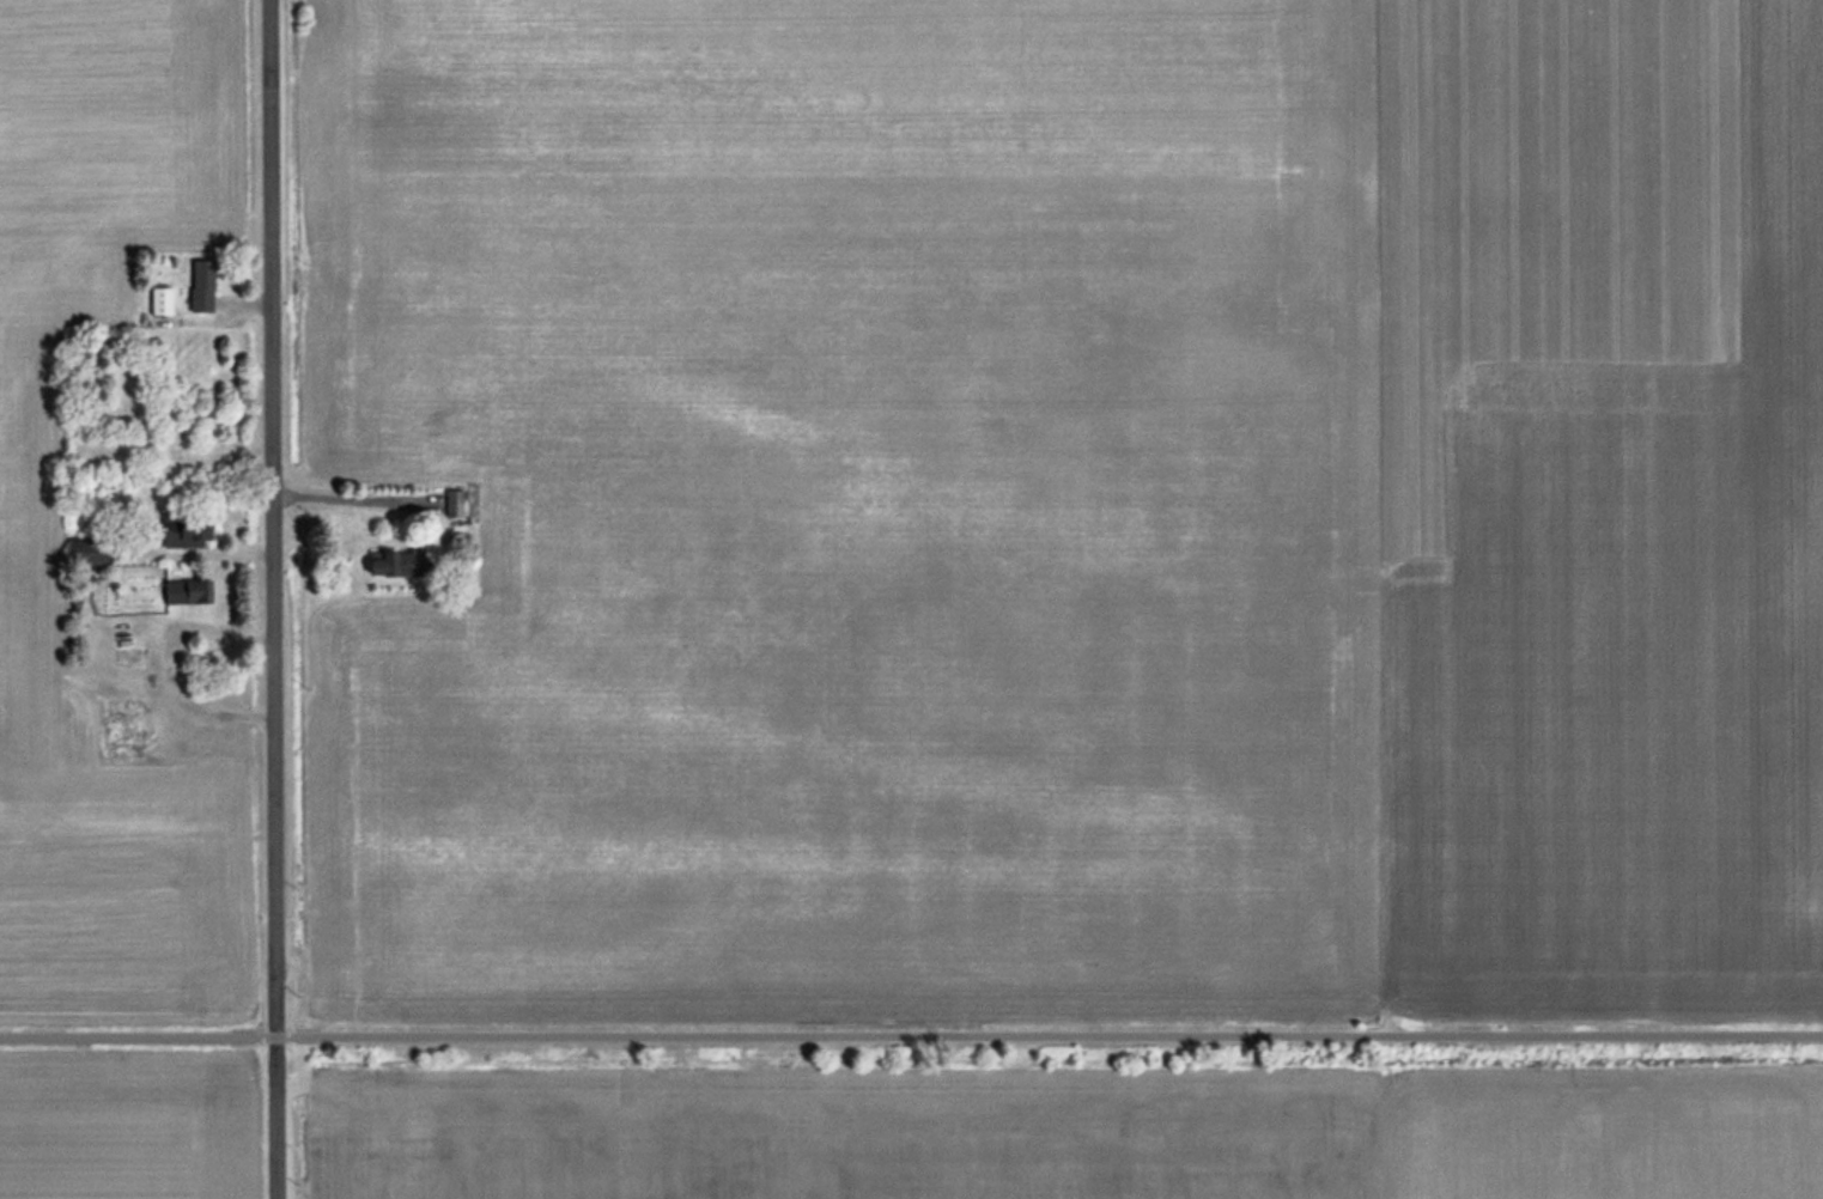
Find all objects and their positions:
building: (200, 285)
building: (159, 299)
road: (353, 498)
building: (452, 504)
building: (184, 529)
building: (85, 550)
building: (388, 564)
building: (187, 591)
road: (272, 599)
building: (126, 656)
road: (911, 1034)

